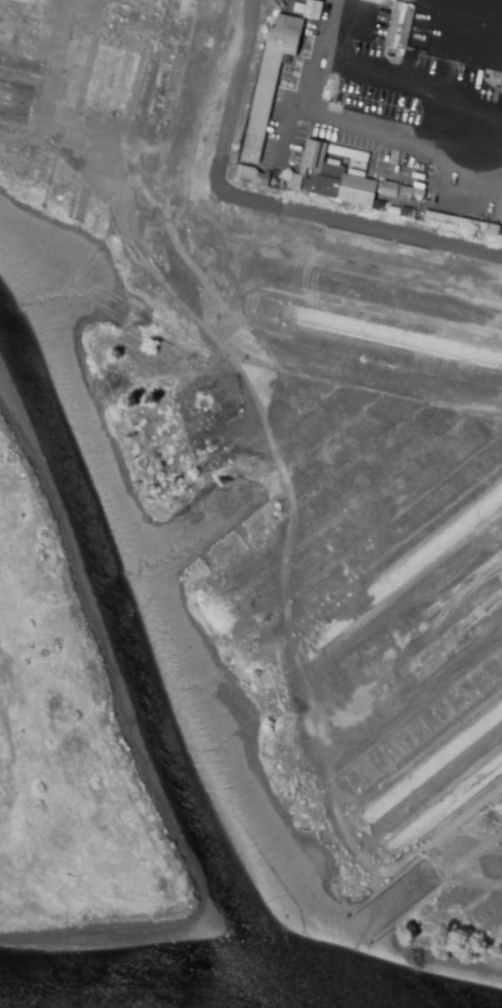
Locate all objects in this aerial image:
building: (313, 10)
building: (400, 26)
building: (270, 82)
road: (312, 85)
building: (429, 123)
road: (407, 142)
building: (251, 175)
building: (329, 176)
building: (274, 183)
building: (389, 189)
road: (266, 203)
building: (403, 212)
building: (456, 222)
building: (413, 223)
building: (428, 227)
building: (272, 705)
building: (353, 812)
building: (426, 935)
river: (191, 990)

